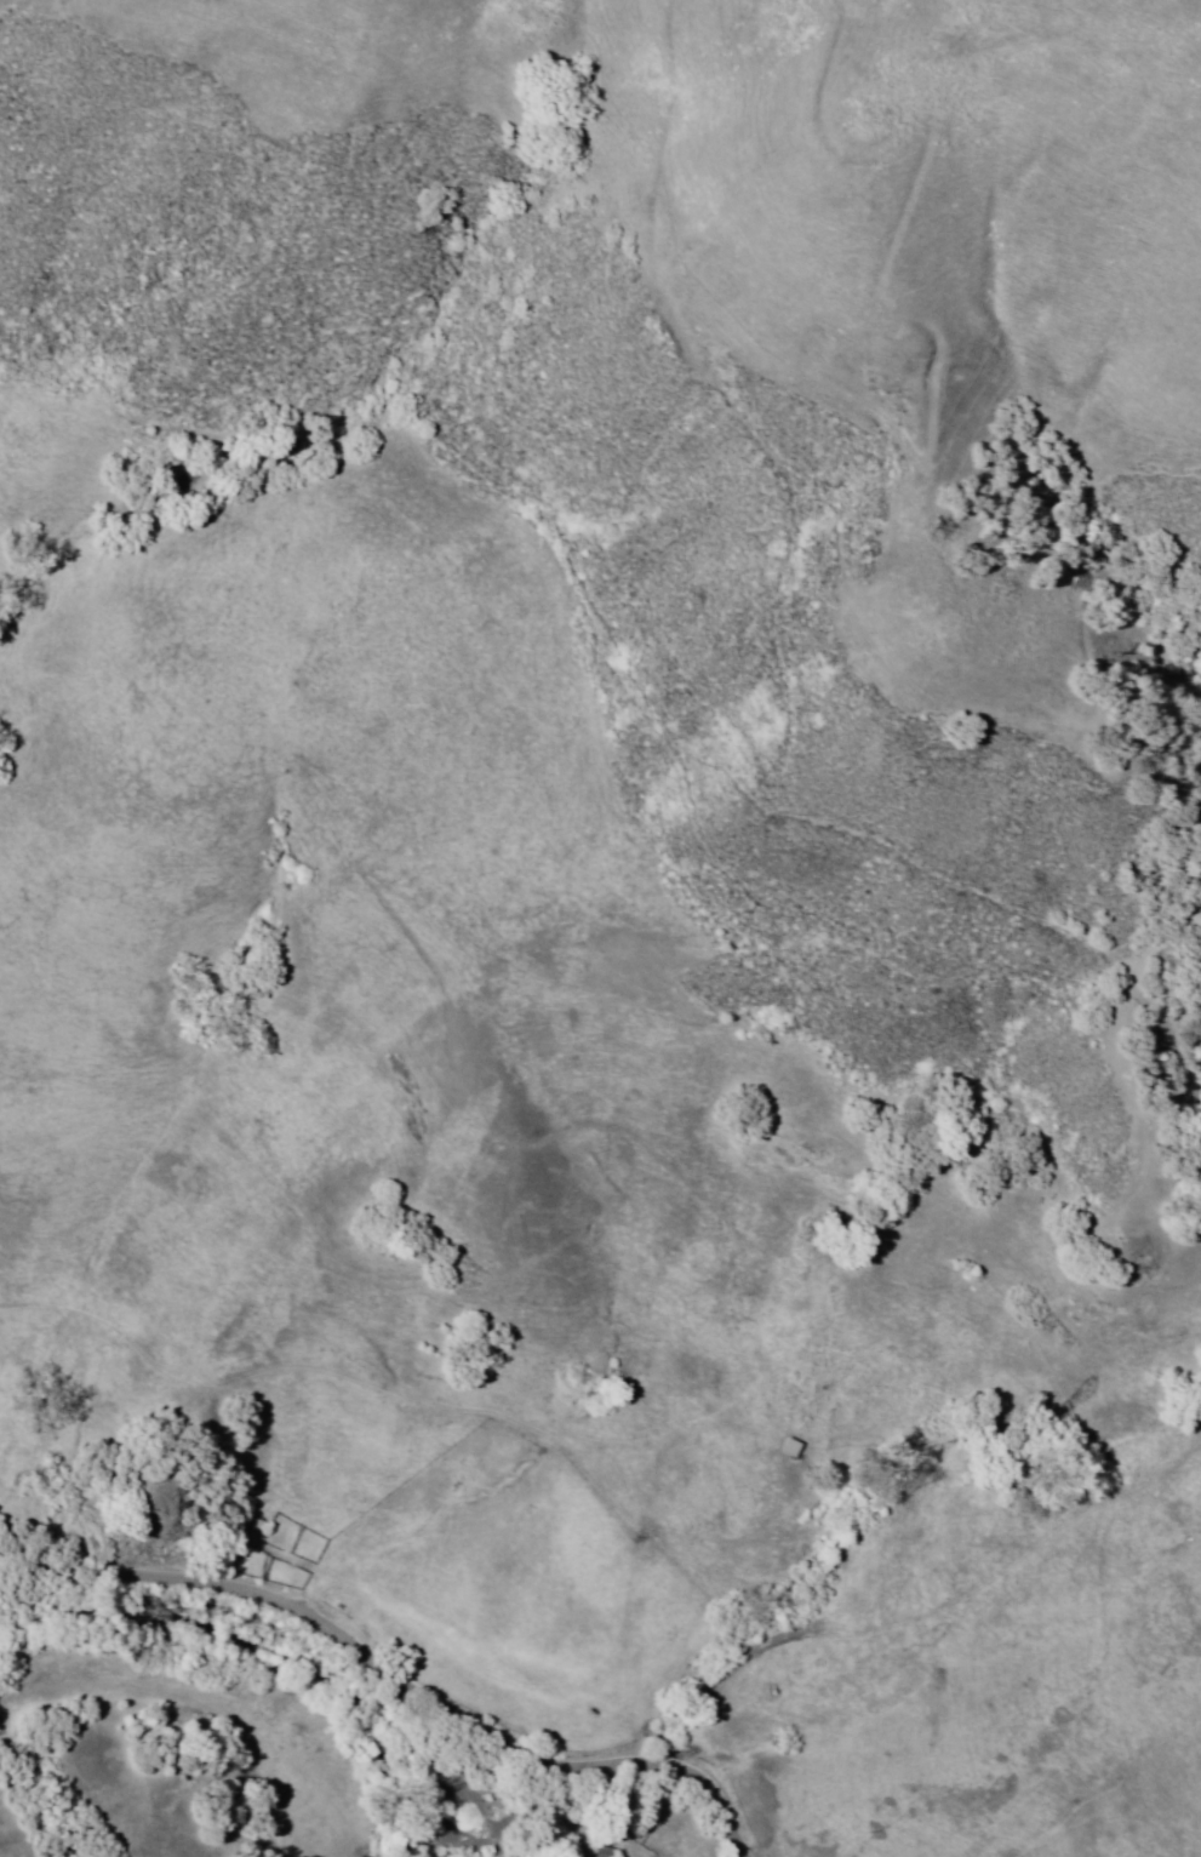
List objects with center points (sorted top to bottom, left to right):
road: (934, 406)
road: (1142, 1137)
building: (791, 1447)
road: (922, 1615)
road: (390, 1679)

